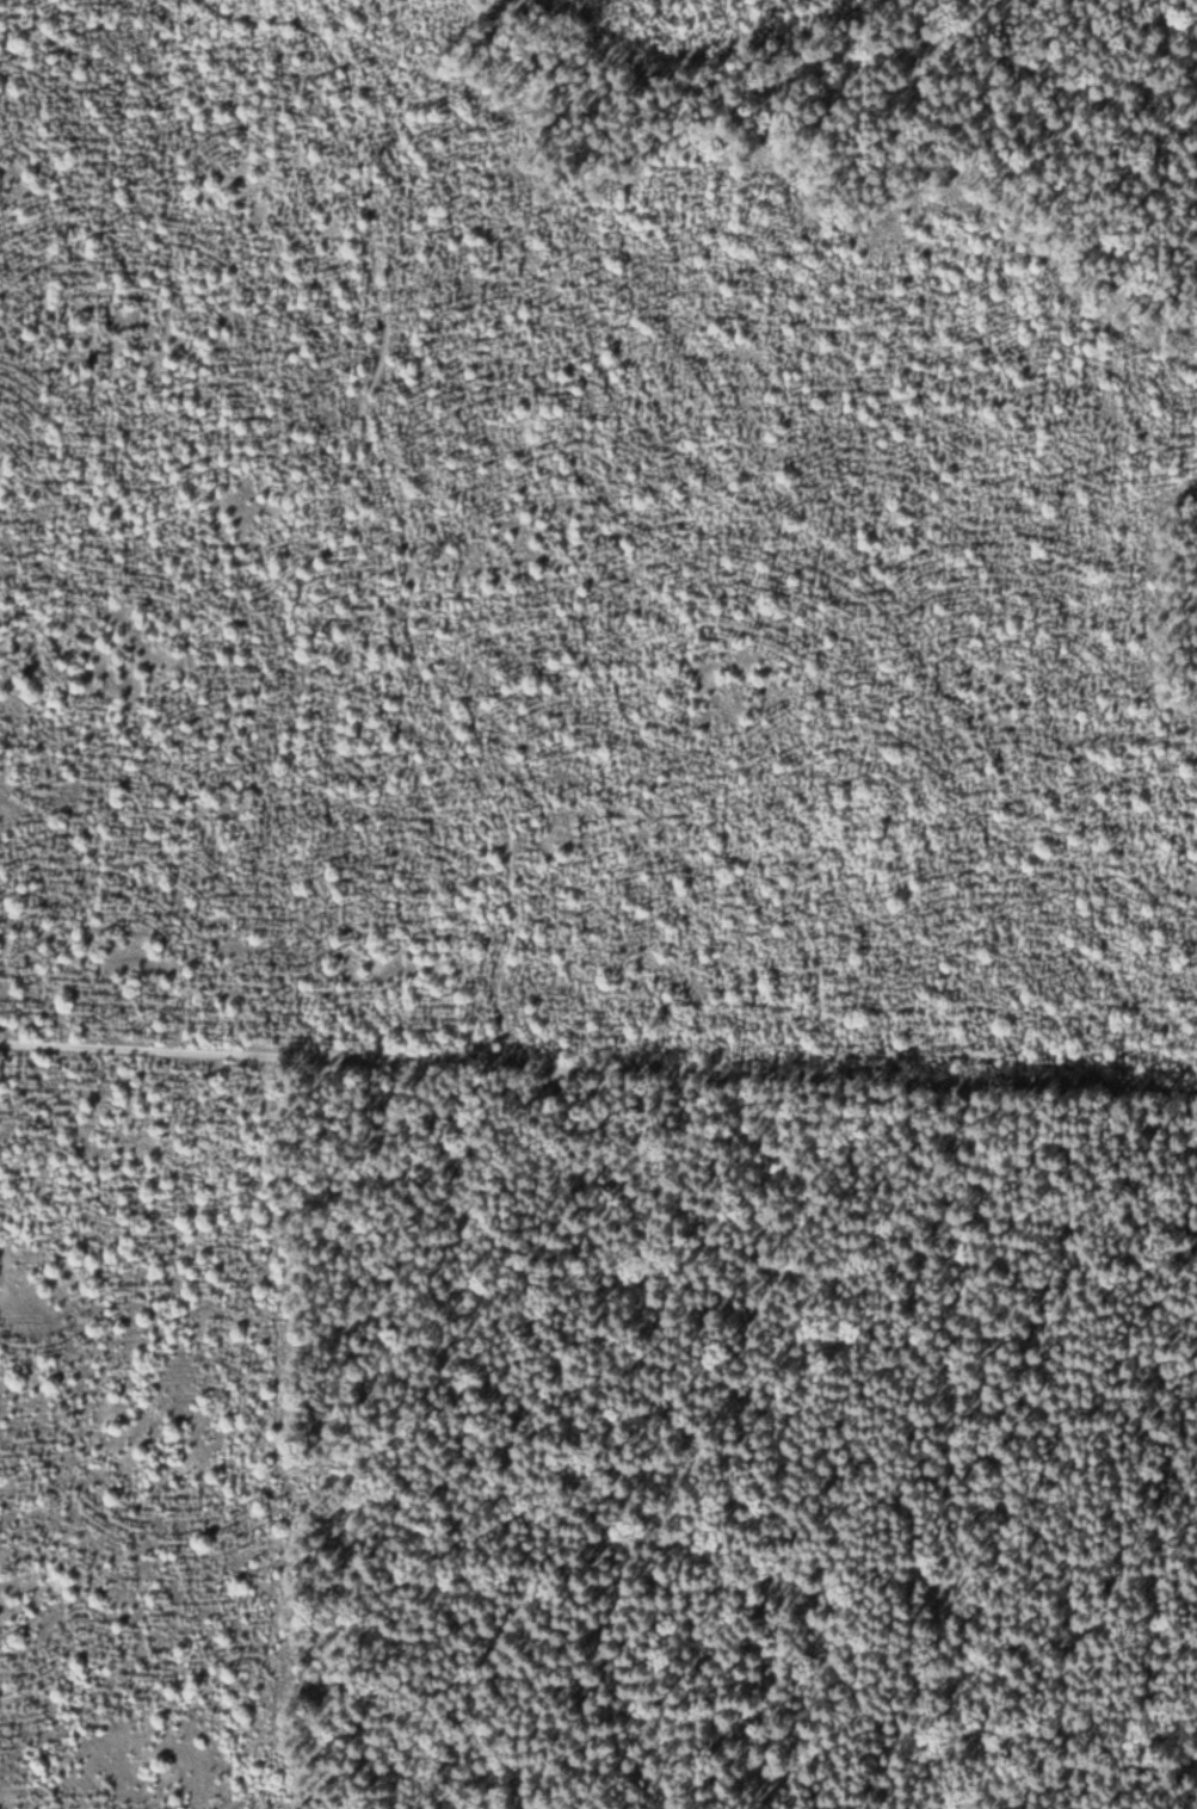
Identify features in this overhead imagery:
road: (508, 854)
road: (598, 1060)

